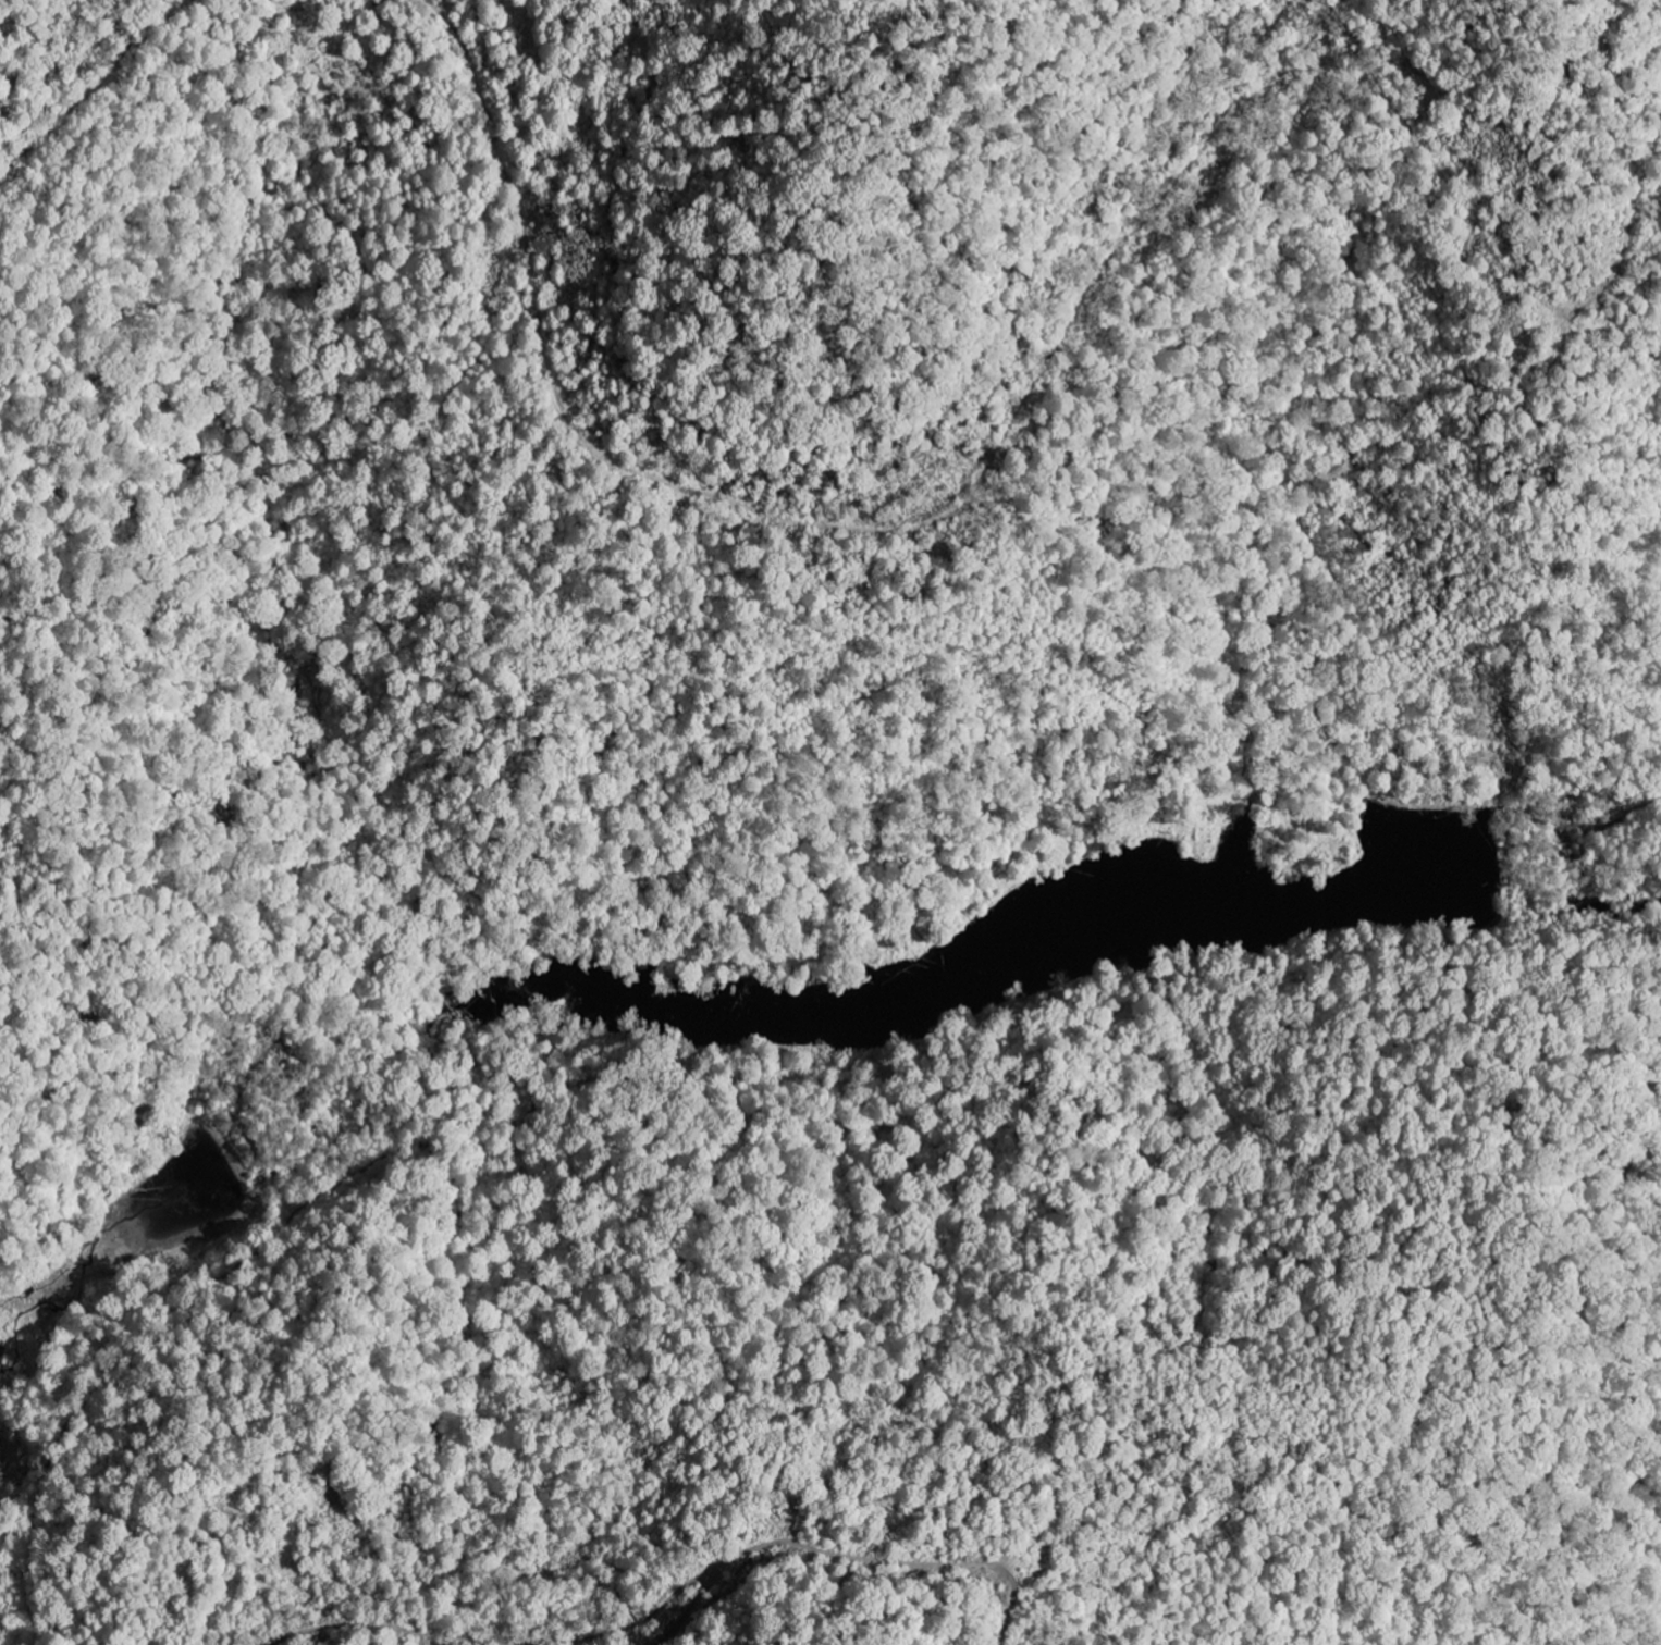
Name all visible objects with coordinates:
road: (1653, 858)

